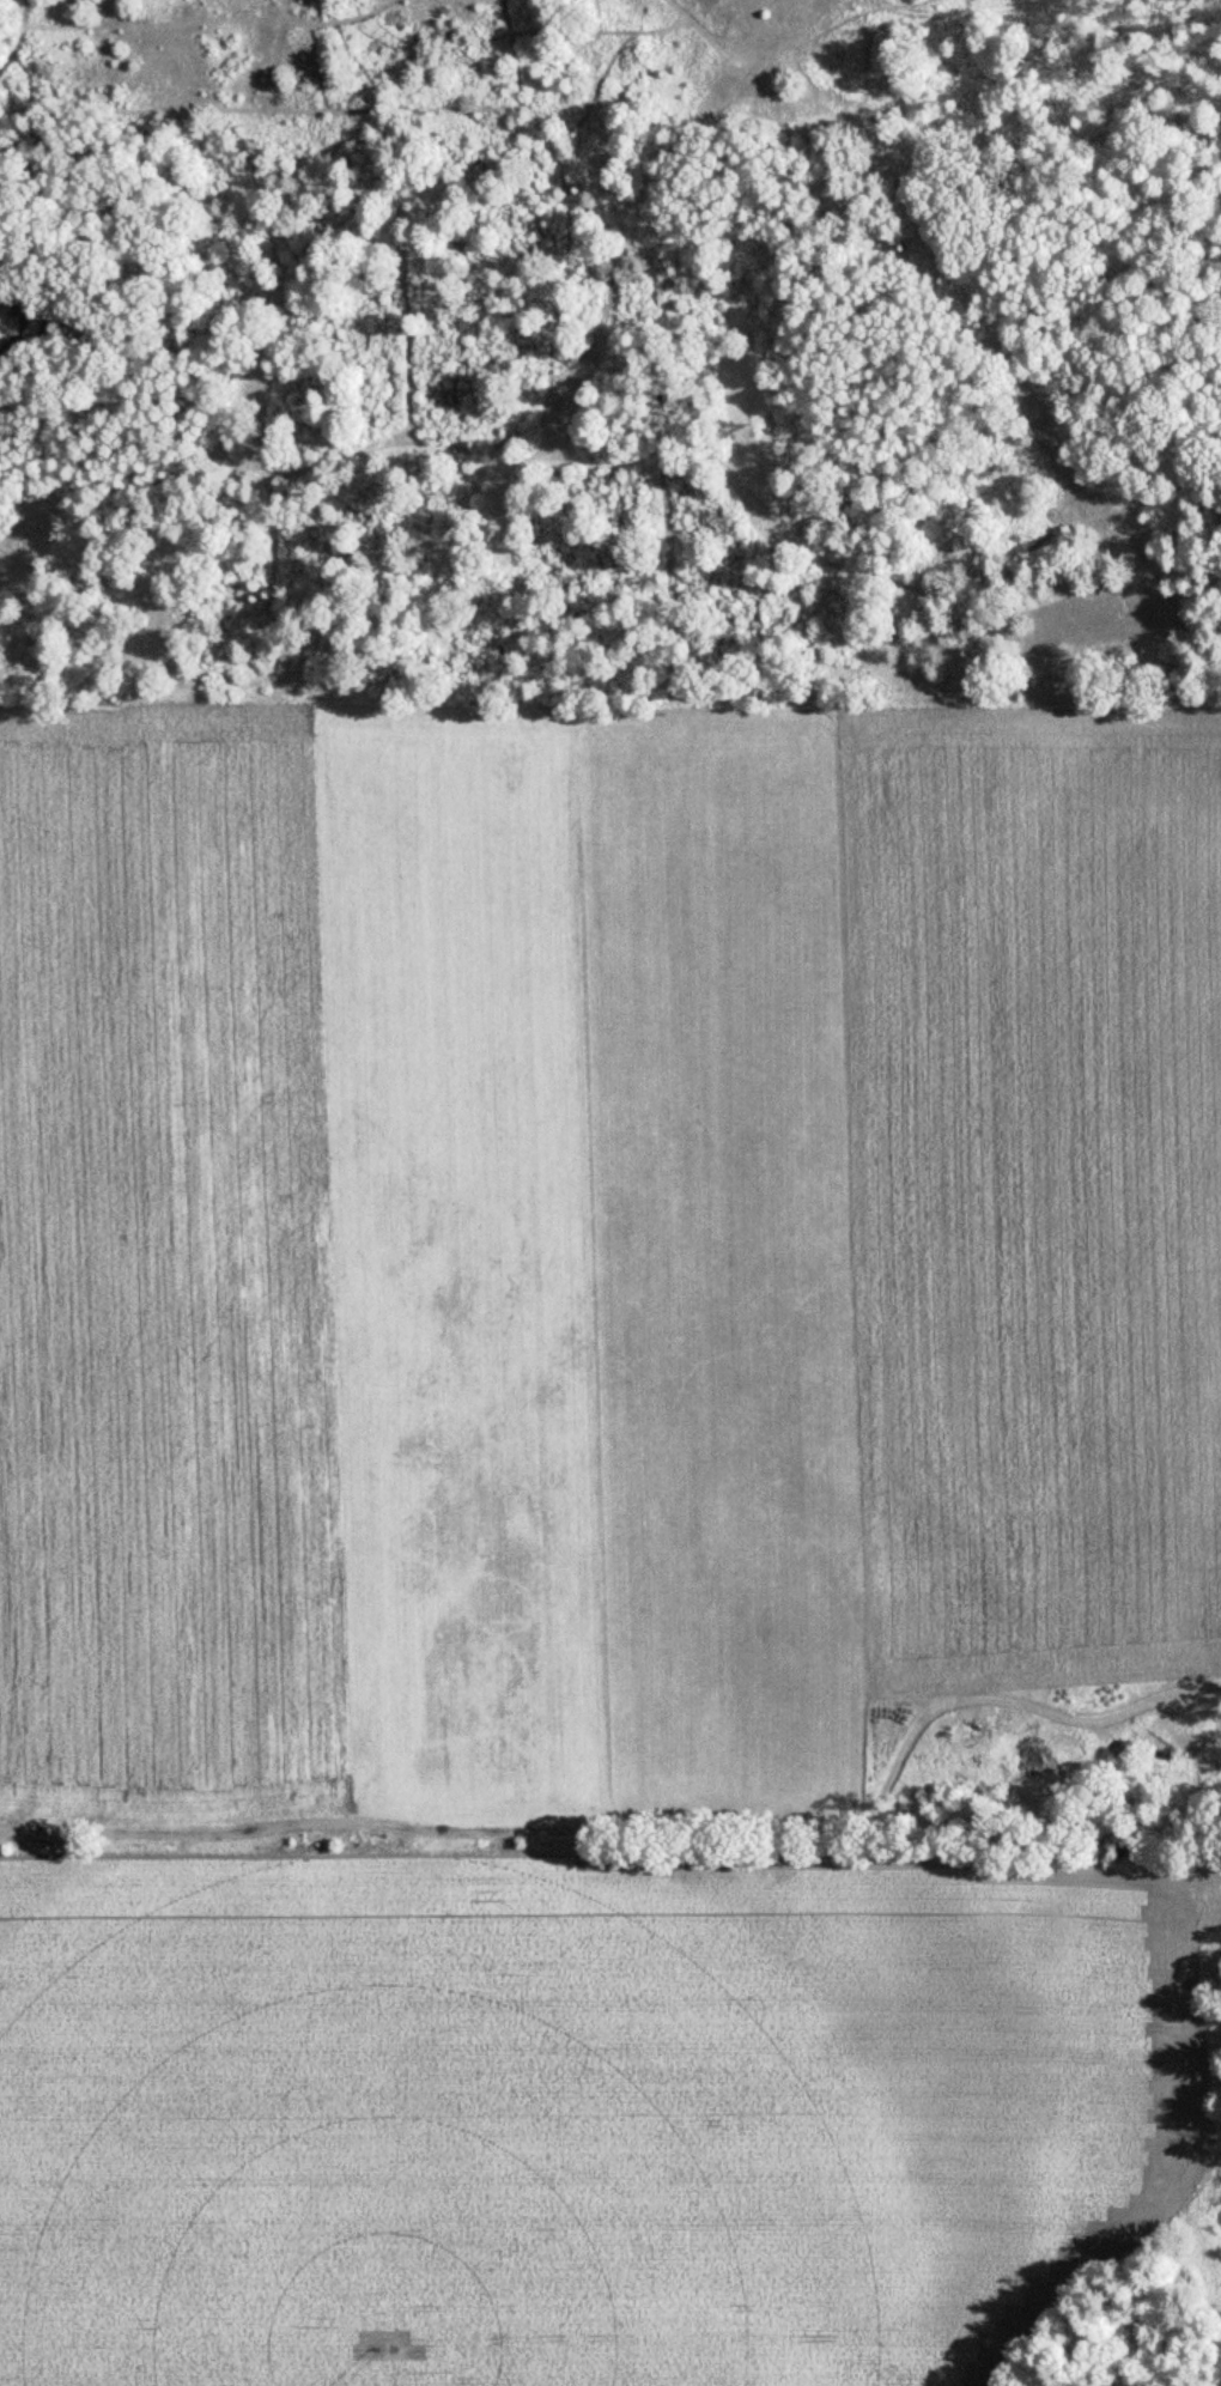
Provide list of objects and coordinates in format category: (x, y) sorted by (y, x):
road: (610, 1831)

